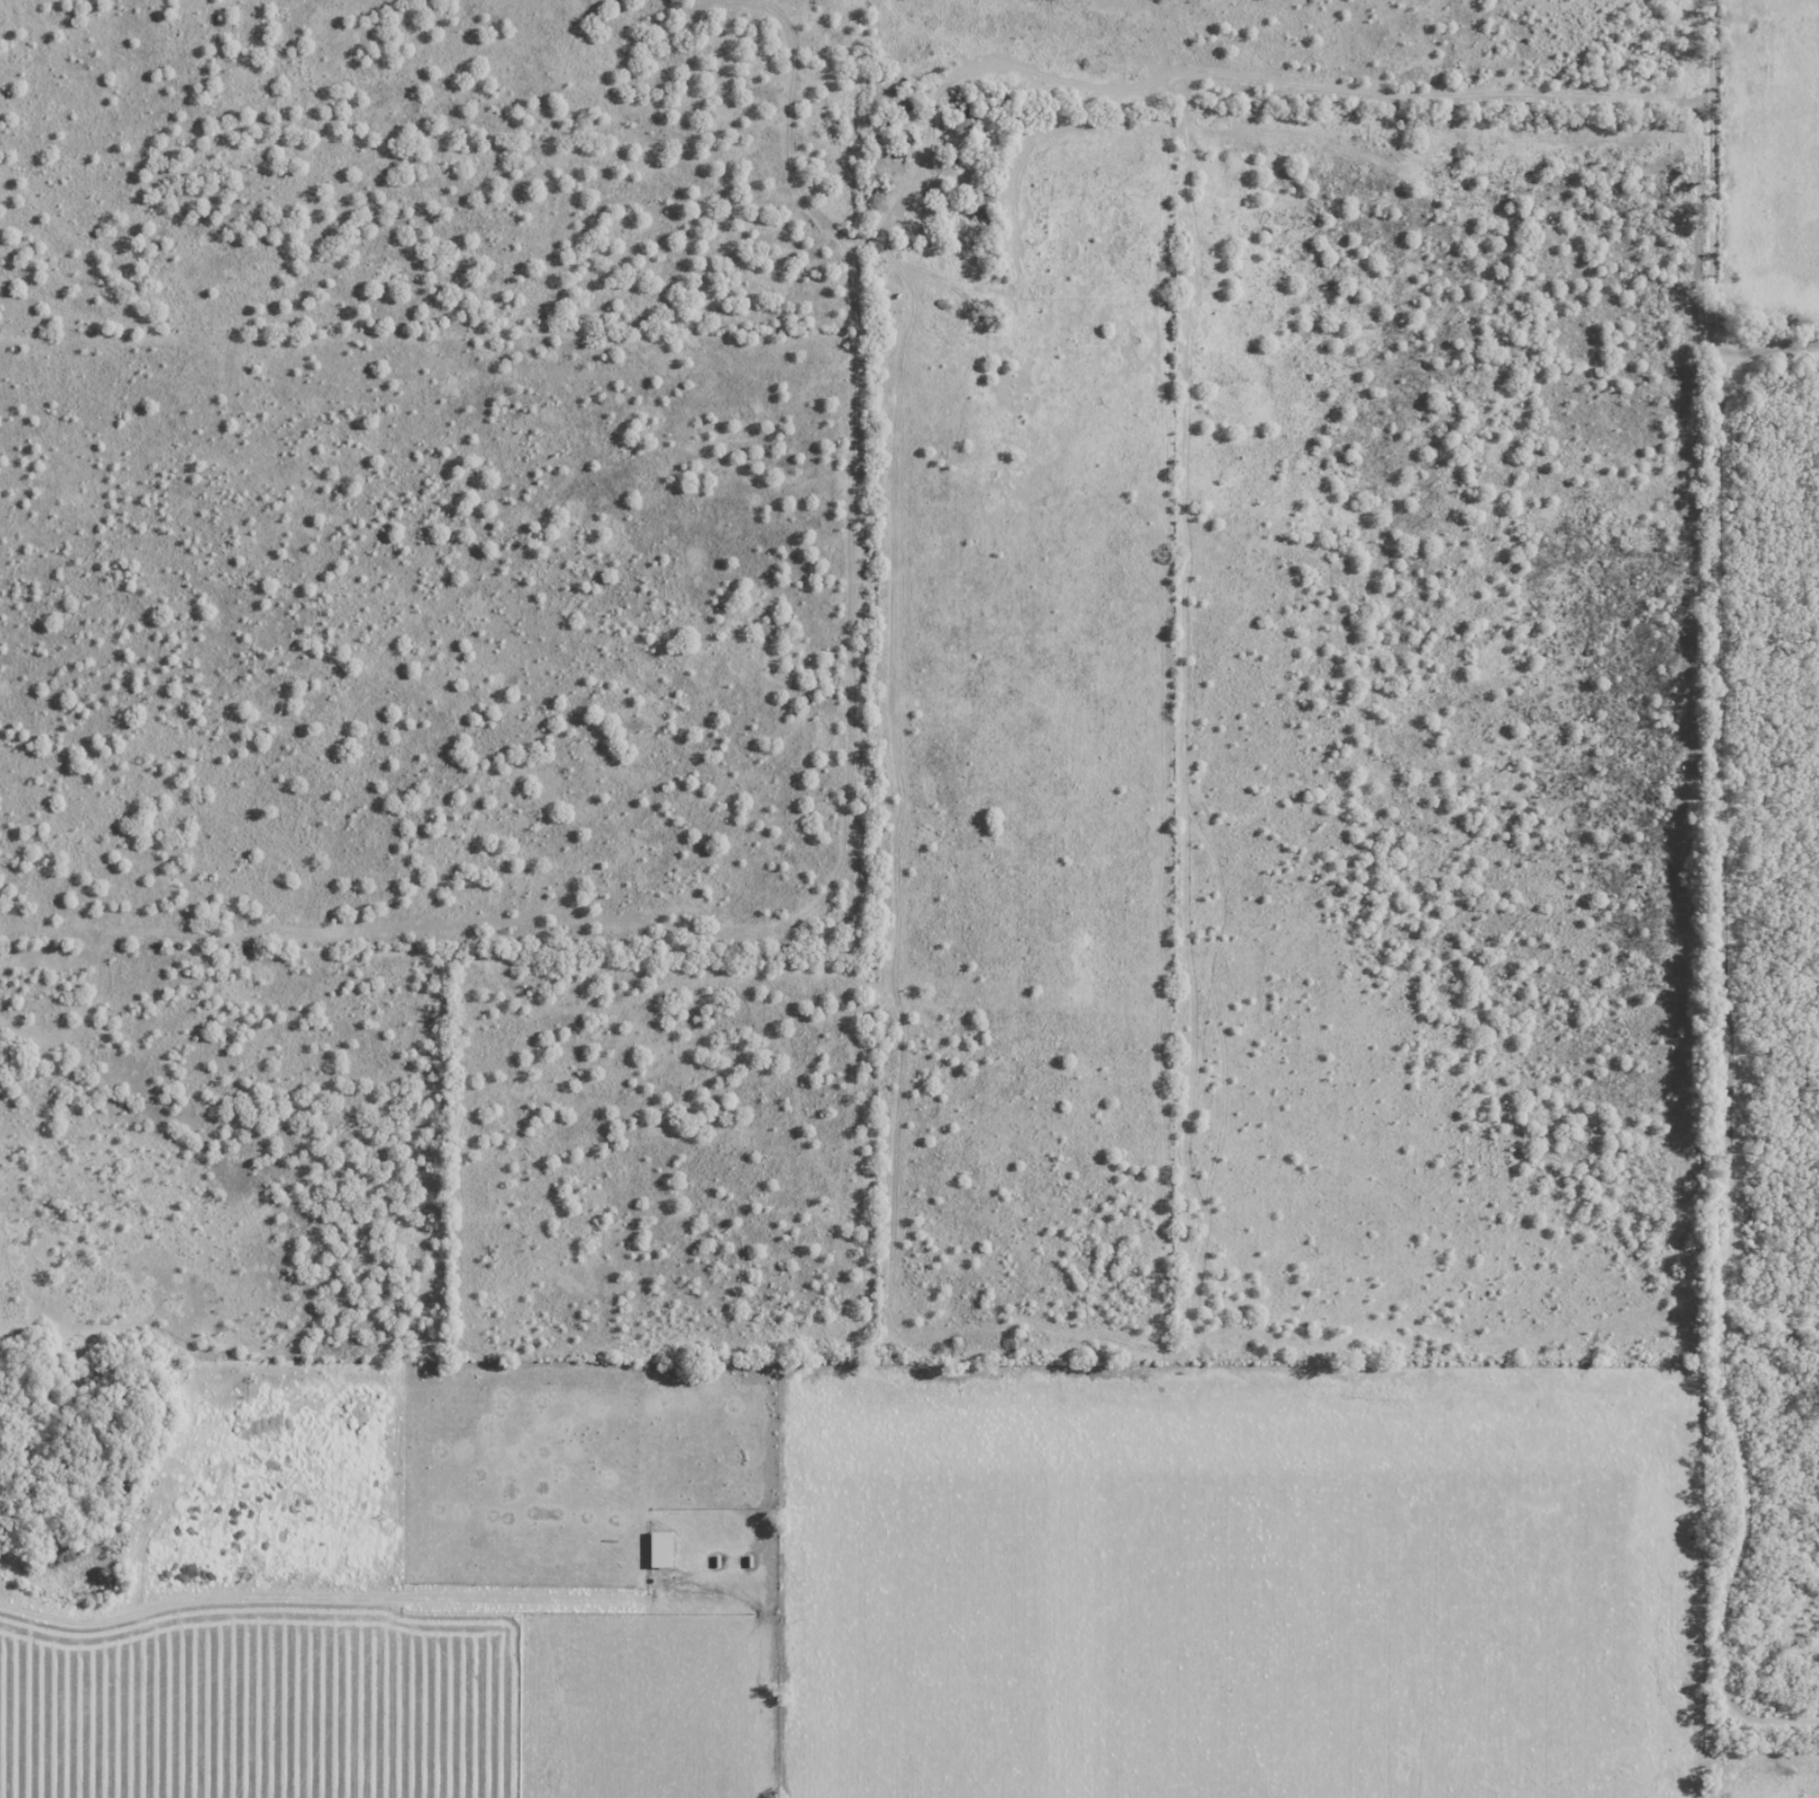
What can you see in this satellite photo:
building: (662, 1550)
road: (311, 1599)

